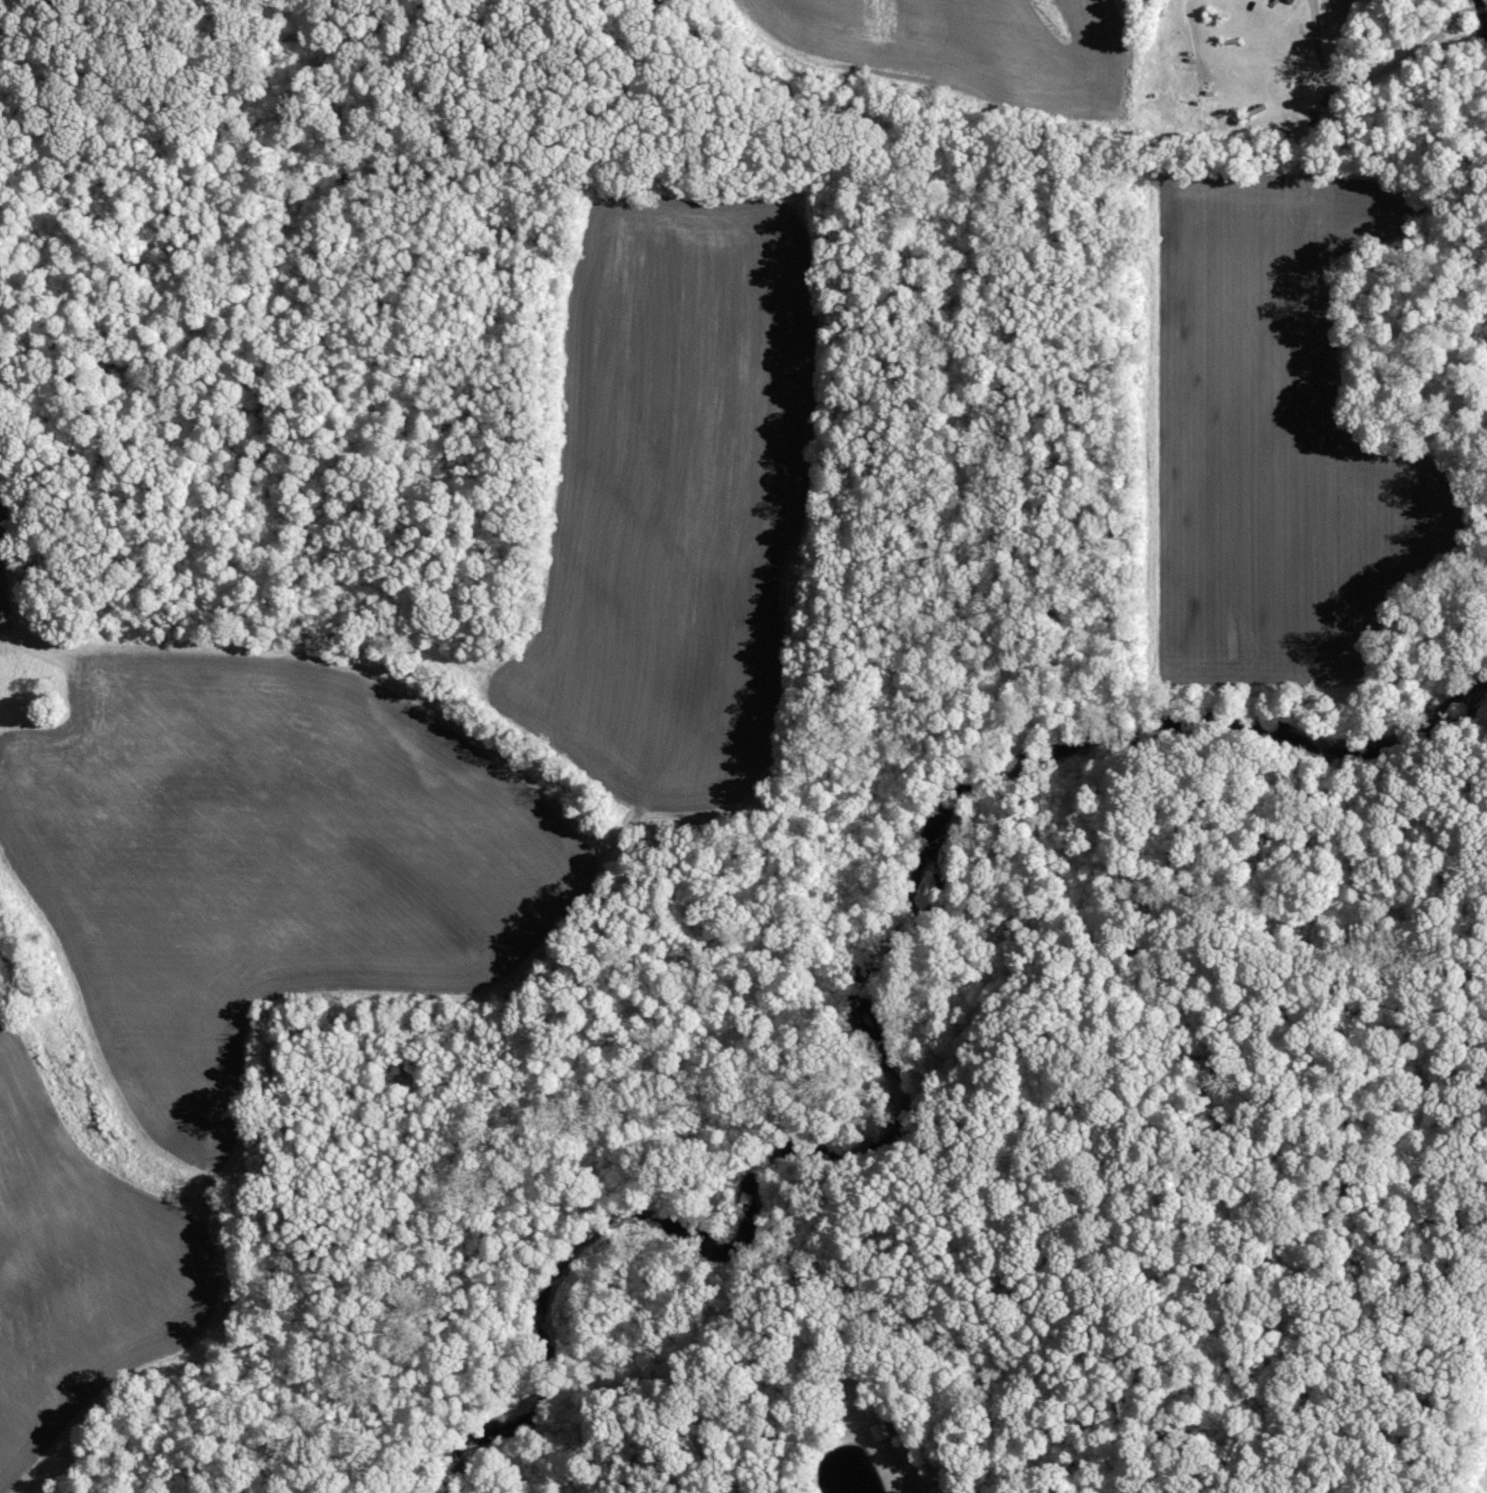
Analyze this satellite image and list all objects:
crop: (1277, 439)
crop: (678, 502)

